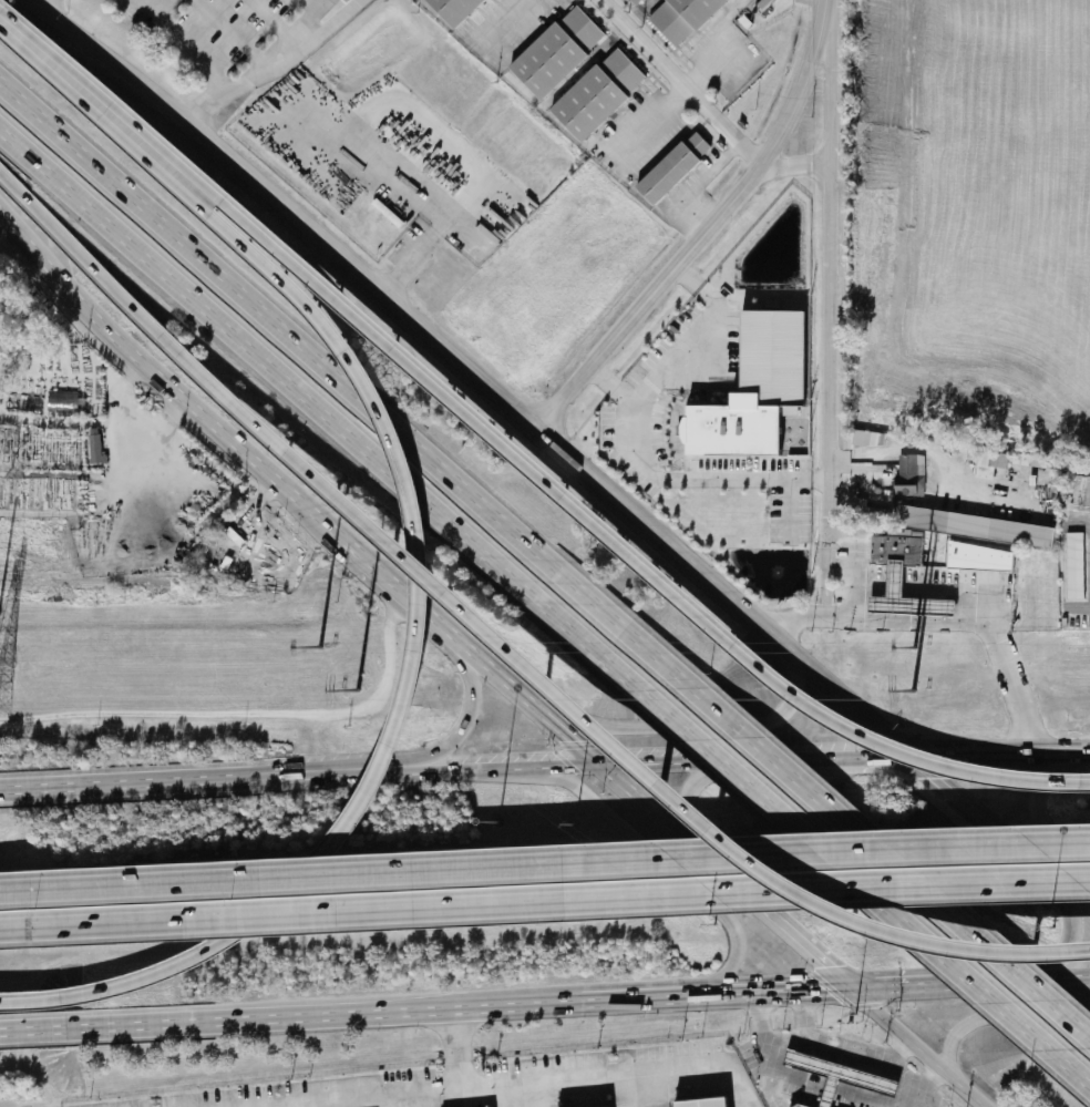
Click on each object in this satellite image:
road: (33, 1)
building: (634, 2)
road: (309, 4)
building: (450, 9)
building: (678, 17)
road: (267, 19)
road: (501, 28)
road: (295, 29)
road: (226, 37)
road: (182, 43)
road: (89, 48)
road: (75, 49)
building: (555, 51)
road: (275, 66)
road: (679, 81)
building: (595, 93)
road: (670, 103)
road: (798, 158)
building: (669, 166)
road: (693, 184)
road: (424, 193)
road: (705, 228)
road: (95, 270)
road: (834, 273)
road: (341, 383)
road: (610, 383)
building: (749, 389)
road: (137, 407)
road: (330, 419)
road: (534, 432)
road: (636, 435)
building: (863, 439)
building: (92, 445)
road: (514, 459)
building: (986, 463)
building: (904, 474)
road: (253, 498)
road: (791, 506)
building: (971, 526)
building: (897, 543)
road: (415, 549)
building: (975, 557)
building: (215, 563)
road: (861, 563)
building: (1070, 566)
road: (384, 571)
road: (873, 578)
road: (895, 578)
road: (952, 583)
gas station: (907, 591)
road: (942, 616)
power tower: (1, 653)
road: (706, 730)
road: (459, 734)
traffic signals: (565, 734)
road: (600, 739)
road: (1082, 759)
road: (906, 761)
traffic signals: (923, 761)
road: (999, 761)
road: (812, 763)
traffic signals: (644, 768)
road: (546, 770)
road: (306, 773)
road: (126, 783)
road: (685, 792)
traffic signals: (682, 801)
road: (1039, 816)
road: (1006, 838)
road: (886, 862)
road: (544, 863)
road: (668, 865)
road: (852, 878)
road: (544, 903)
traffic signals: (1070, 923)
road: (1063, 946)
road: (822, 953)
road: (1060, 978)
road: (957, 983)
traffic signals: (863, 987)
road: (482, 1005)
road: (805, 1011)
road: (997, 1016)
road: (40, 1027)
road: (454, 1034)
road: (820, 1035)
road: (927, 1047)
road: (768, 1058)
road: (714, 1060)
road: (1067, 1068)
road: (552, 1074)
building: (841, 1074)
gas station: (841, 1074)
road: (798, 1076)
road: (912, 1085)
road: (649, 1087)
road: (831, 1087)
road: (517, 1093)
road: (340, 1094)
road: (770, 1094)
road: (898, 1096)
road: (409, 1097)
road: (861, 1097)
building: (703, 1101)
road: (281, 1103)
building: (598, 1106)
building: (801, 1106)
road: (885, 1106)

